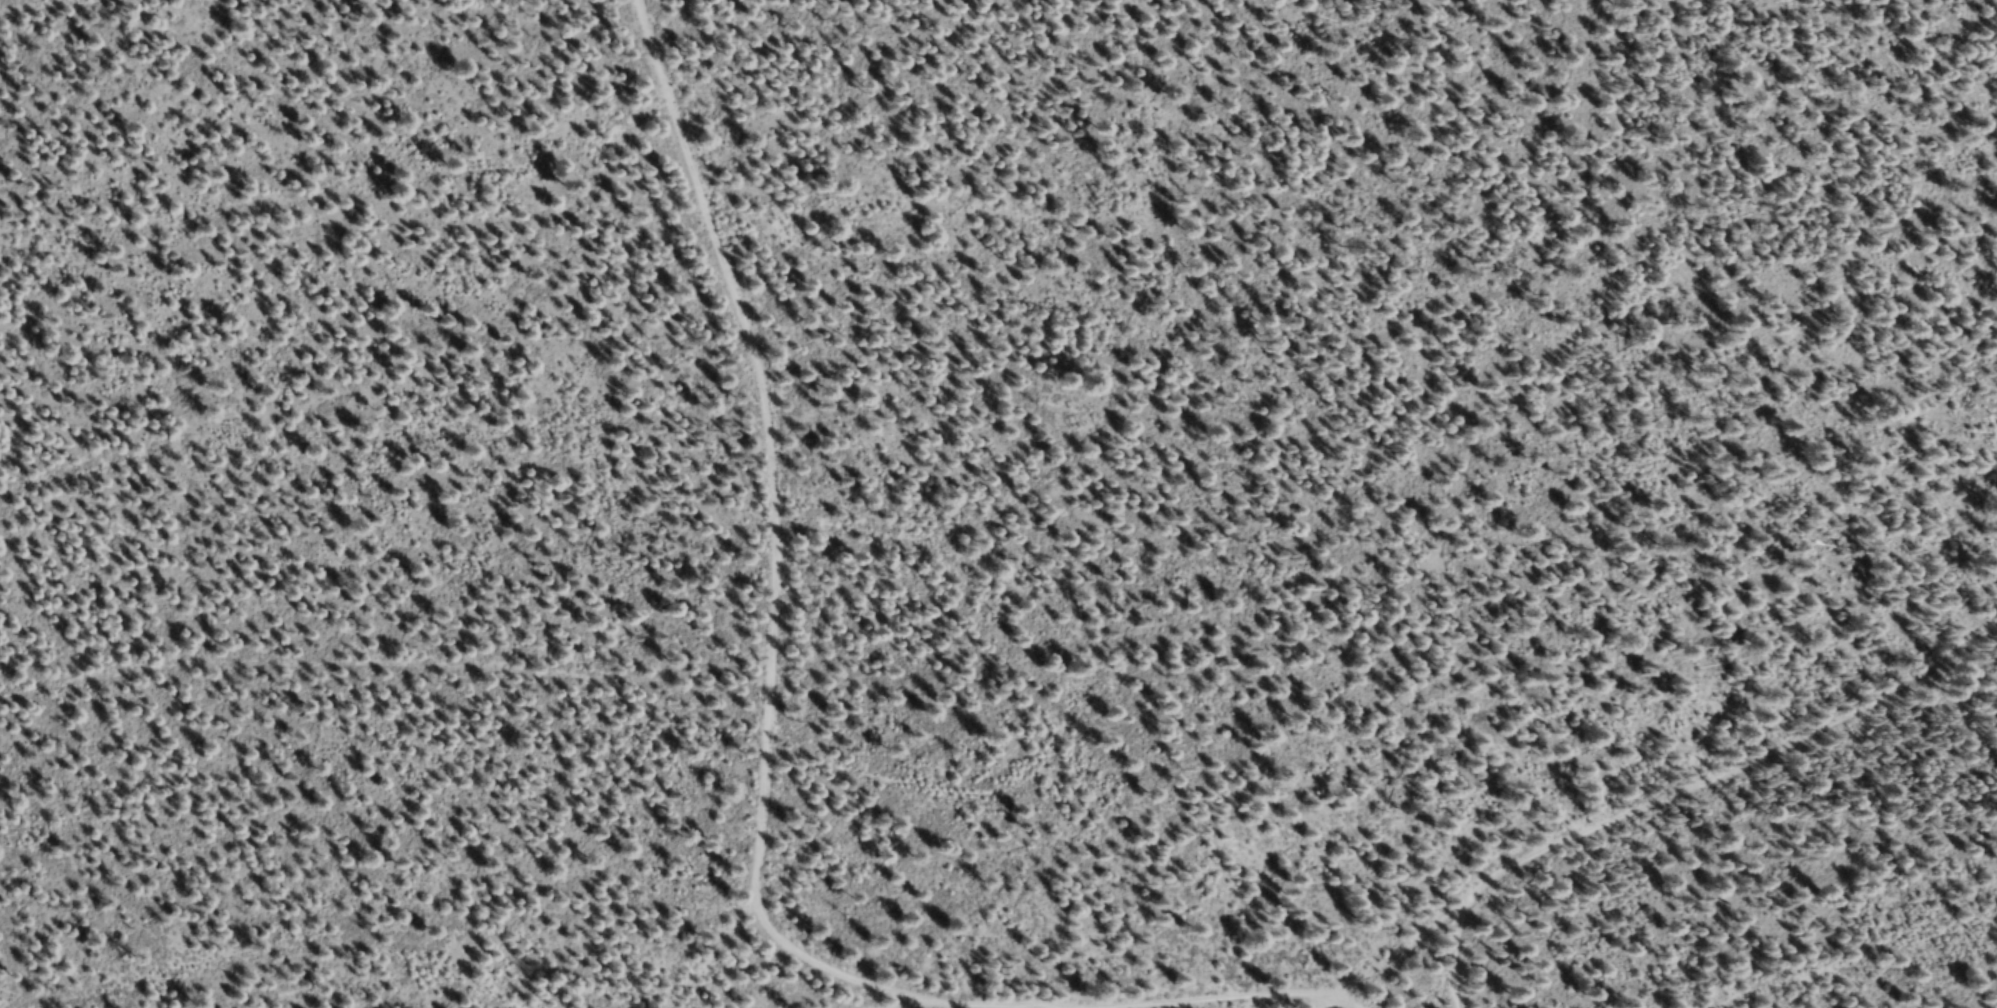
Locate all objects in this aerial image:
road: (163, 17)
road: (342, 192)
road: (1052, 196)
road: (374, 406)
road: (1133, 421)
road: (767, 546)
road: (383, 678)
road: (1105, 695)
road: (1488, 919)
road: (715, 953)
road: (1857, 962)
road: (330, 964)
road: (1481, 966)
road: (1348, 999)
road: (924, 1007)

